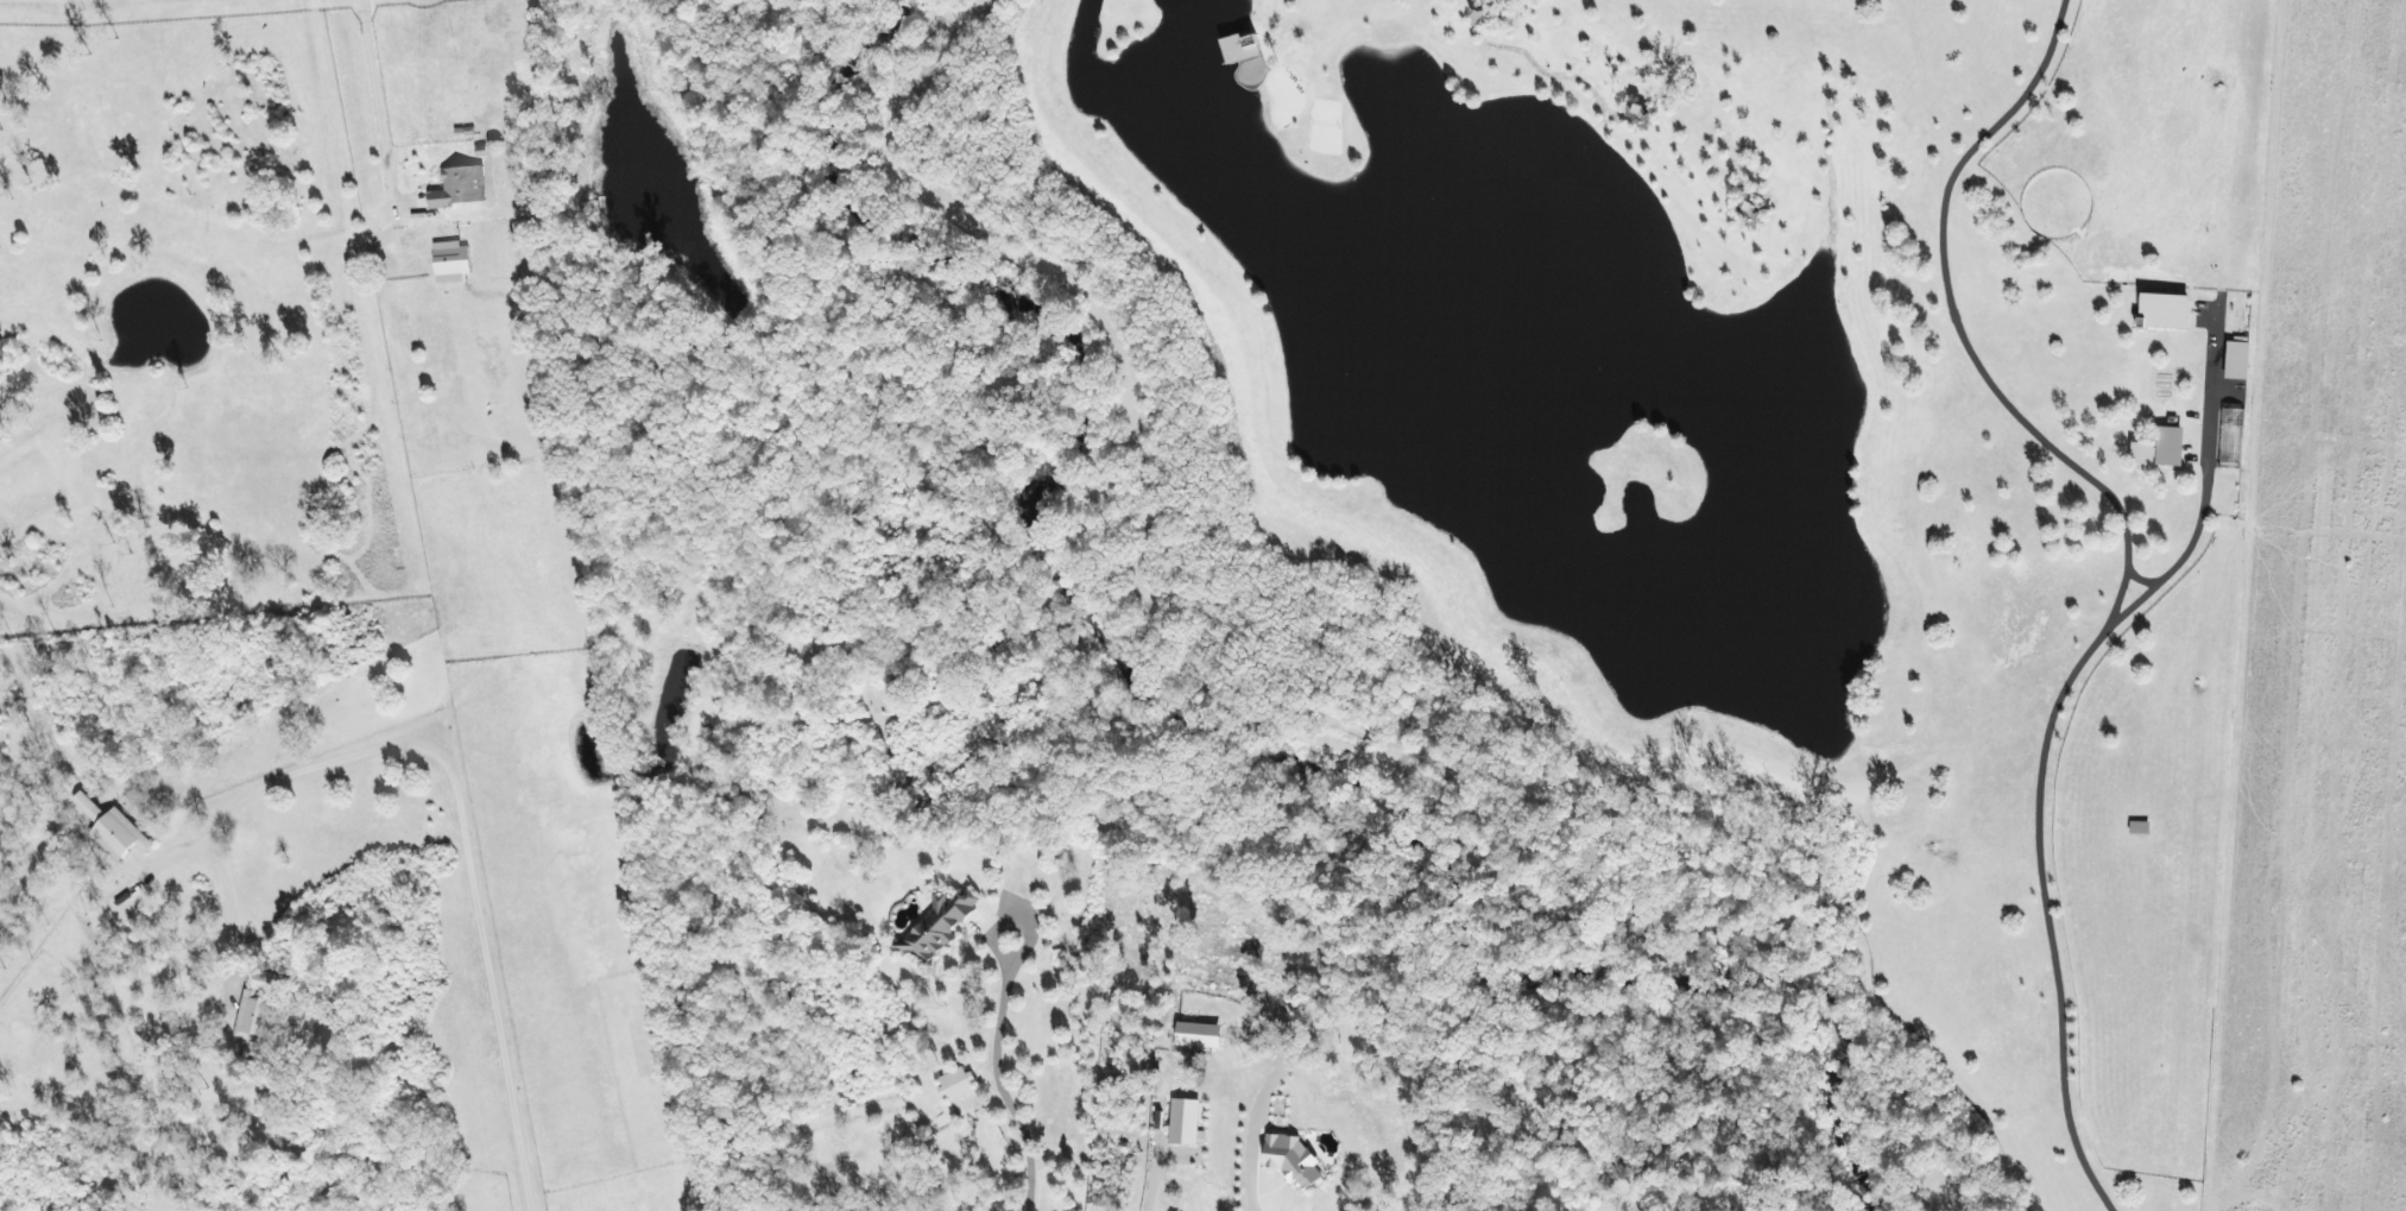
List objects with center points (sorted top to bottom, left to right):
building: (1250, 46)
building: (467, 187)
building: (459, 260)
building: (2162, 310)
road: (1962, 327)
building: (2236, 360)
building: (2156, 450)
road: (2141, 580)
road: (2050, 744)
road: (465, 816)
building: (120, 832)
building: (936, 928)
building: (264, 1007)
building: (1198, 1036)
road: (999, 1072)
building: (958, 1086)
building: (1186, 1125)
building: (1290, 1161)
road: (1252, 1196)

